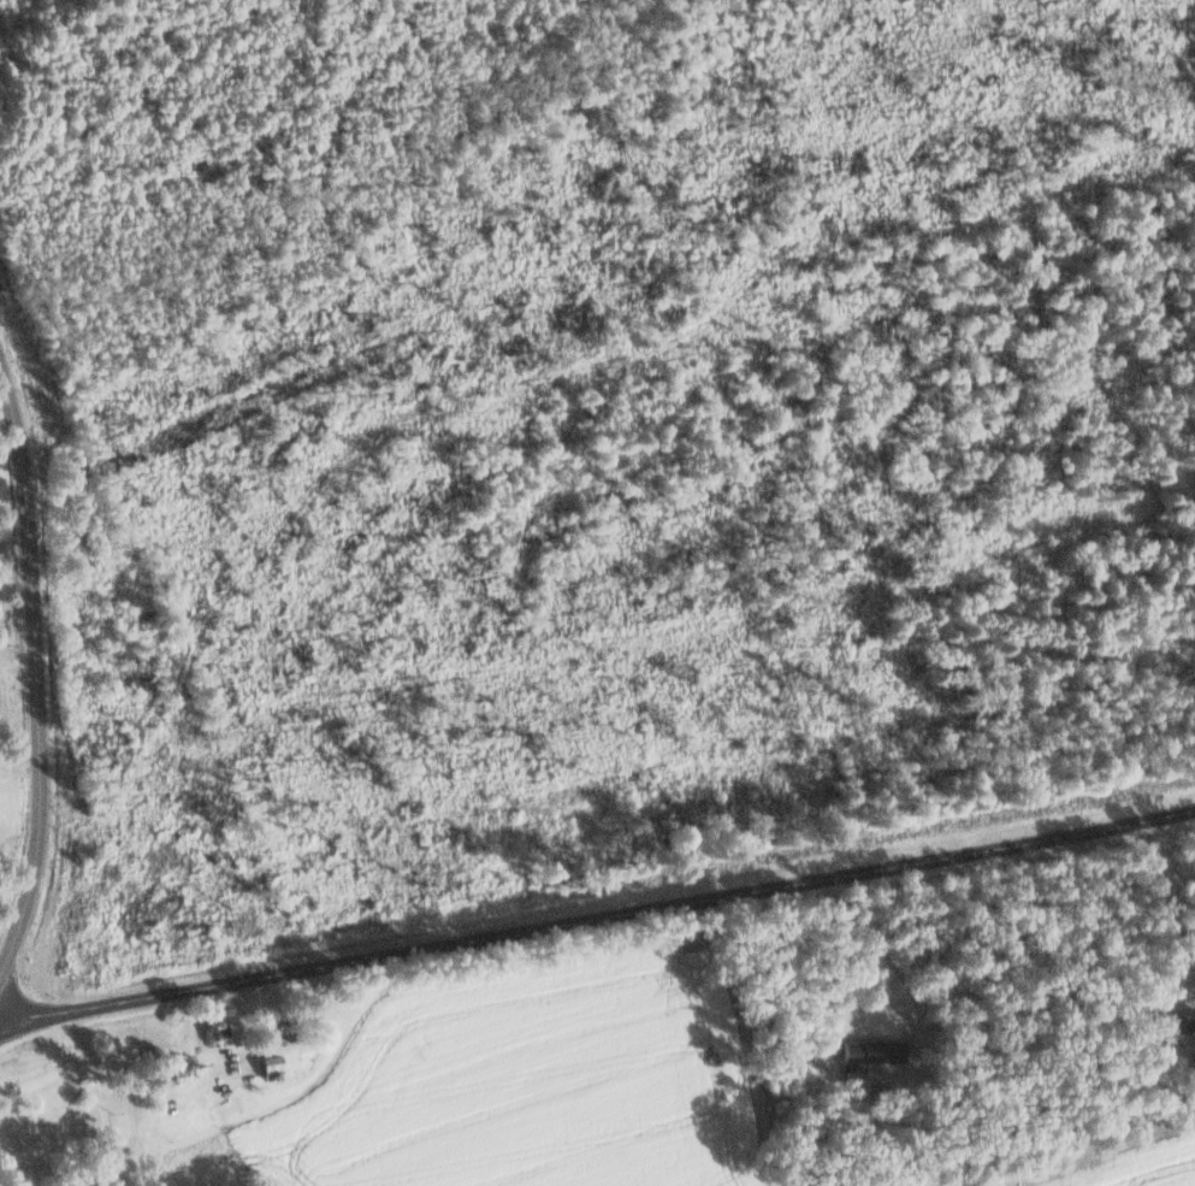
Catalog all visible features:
road: (37, 675)
road: (20, 768)
road: (598, 917)
building: (1167, 1017)
building: (870, 1051)
building: (270, 1067)

